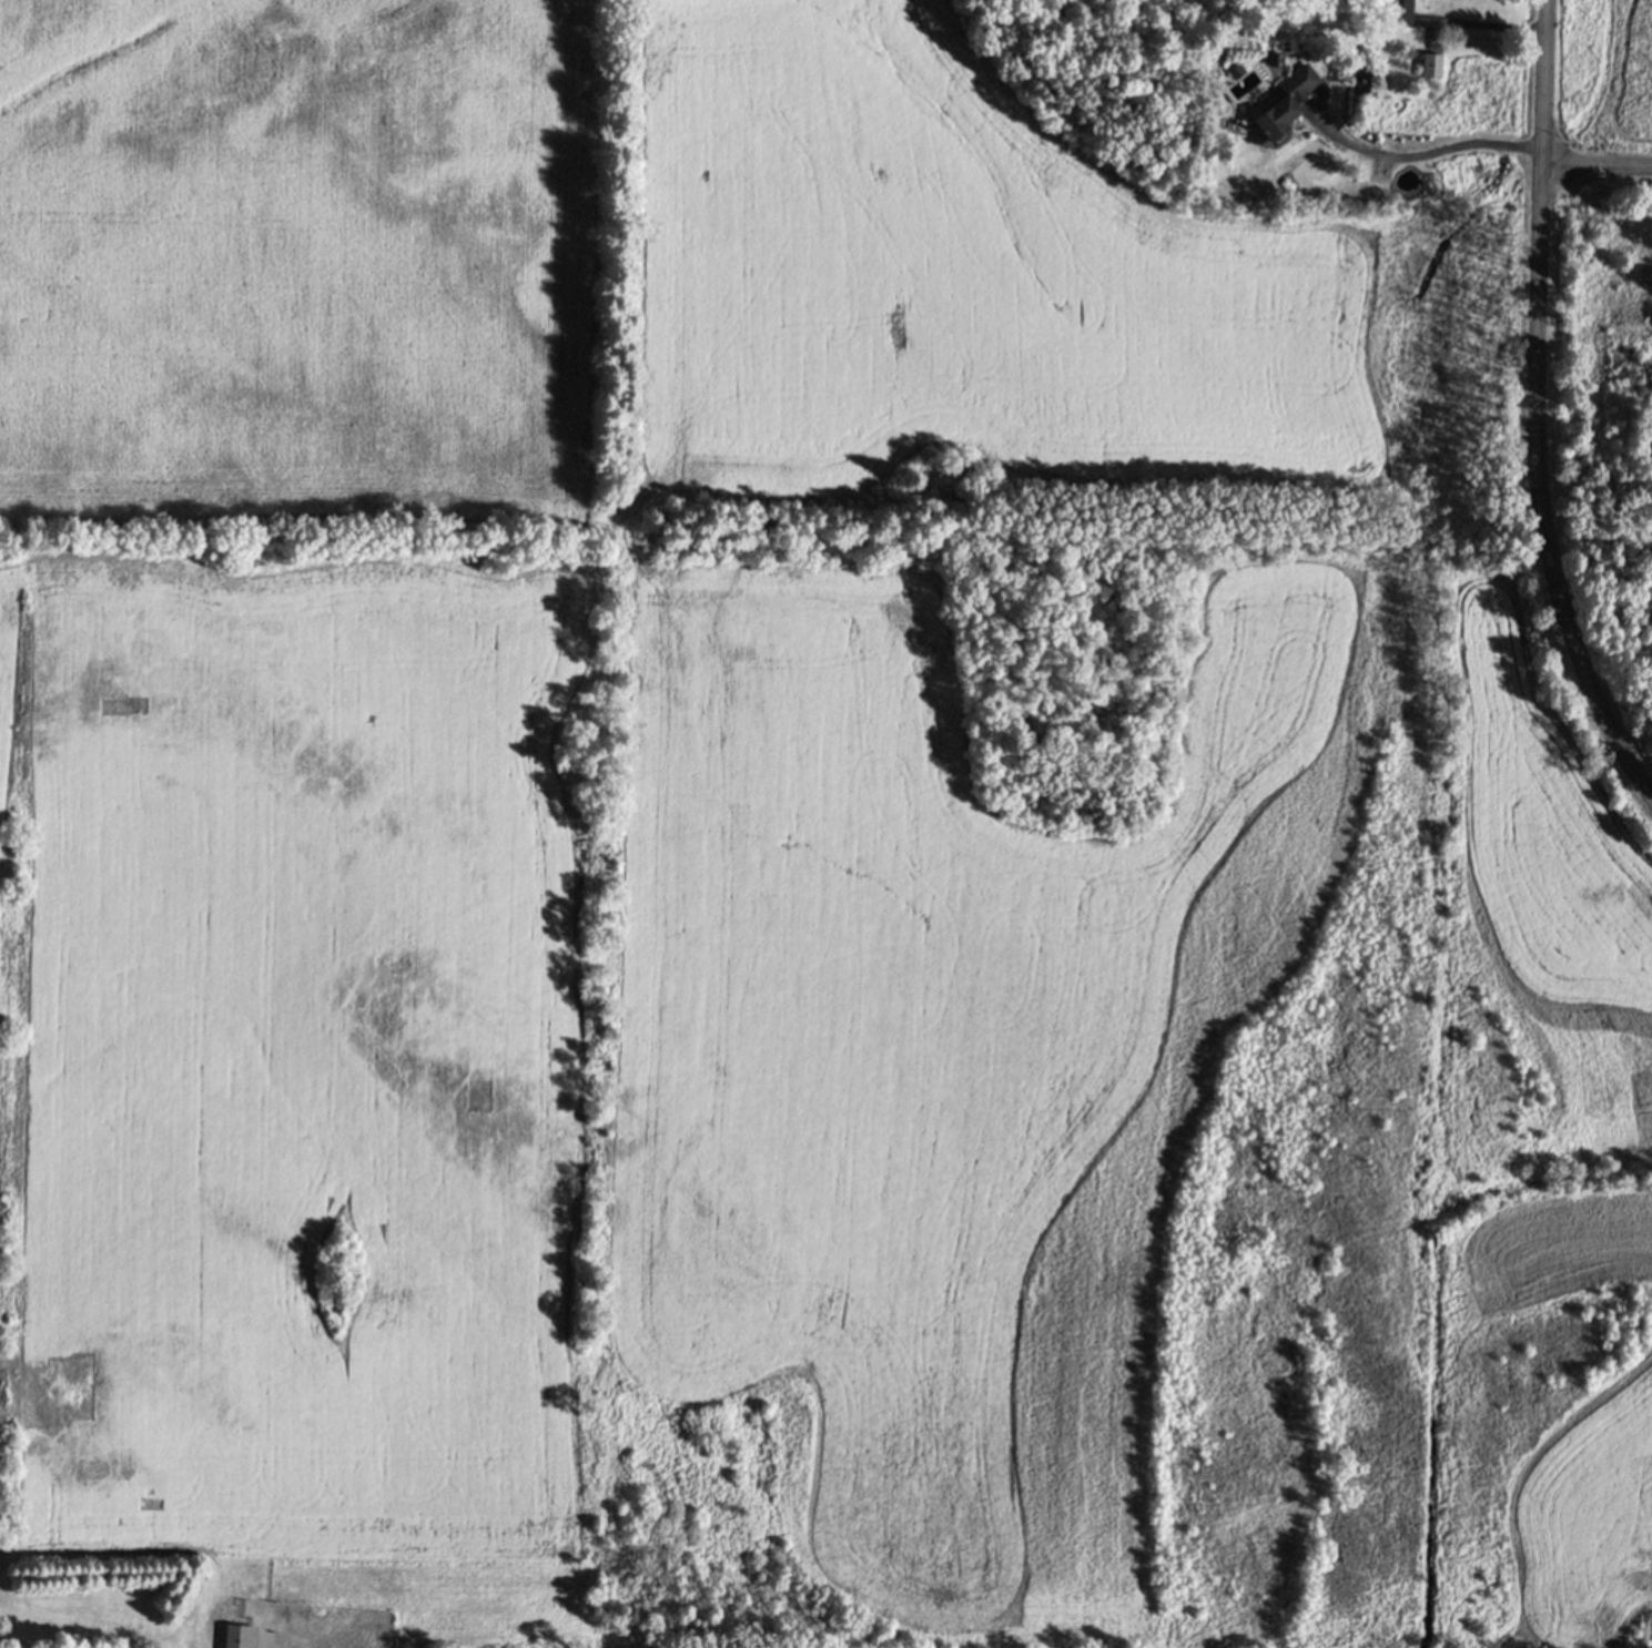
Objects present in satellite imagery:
building: (1398, 12)
road: (1484, 26)
building: (1430, 63)
building: (1284, 108)
road: (1419, 156)
road: (1597, 165)
road: (1537, 409)
building: (240, 1636)

